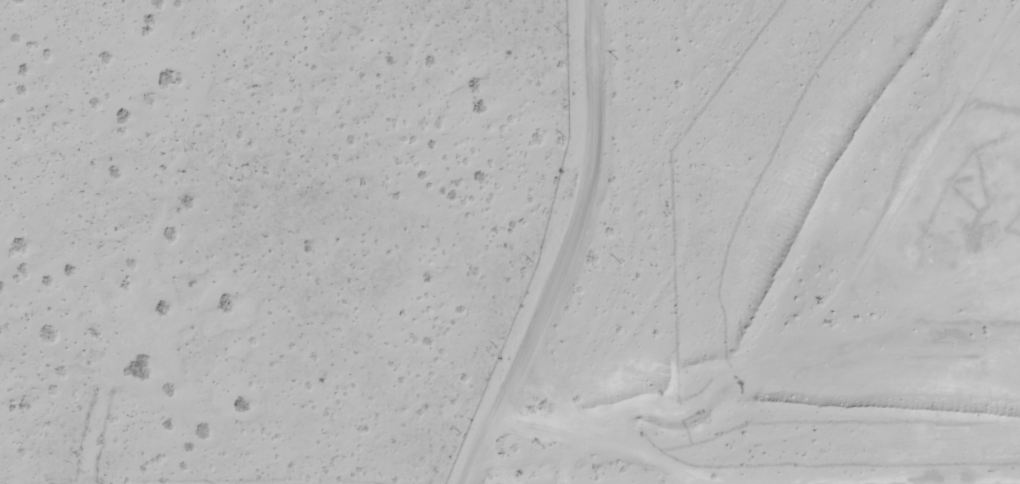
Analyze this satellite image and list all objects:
road: (566, 249)

